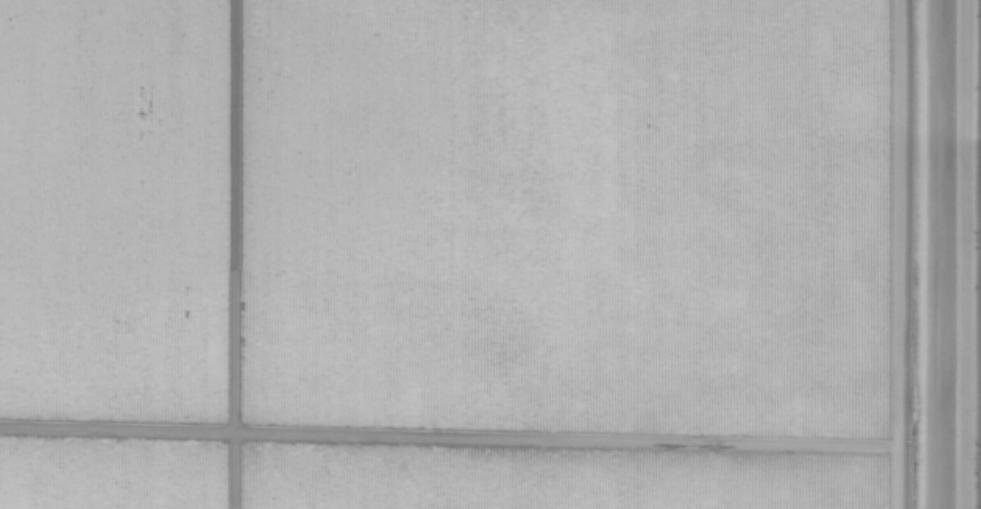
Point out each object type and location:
crop: (490, 254)

